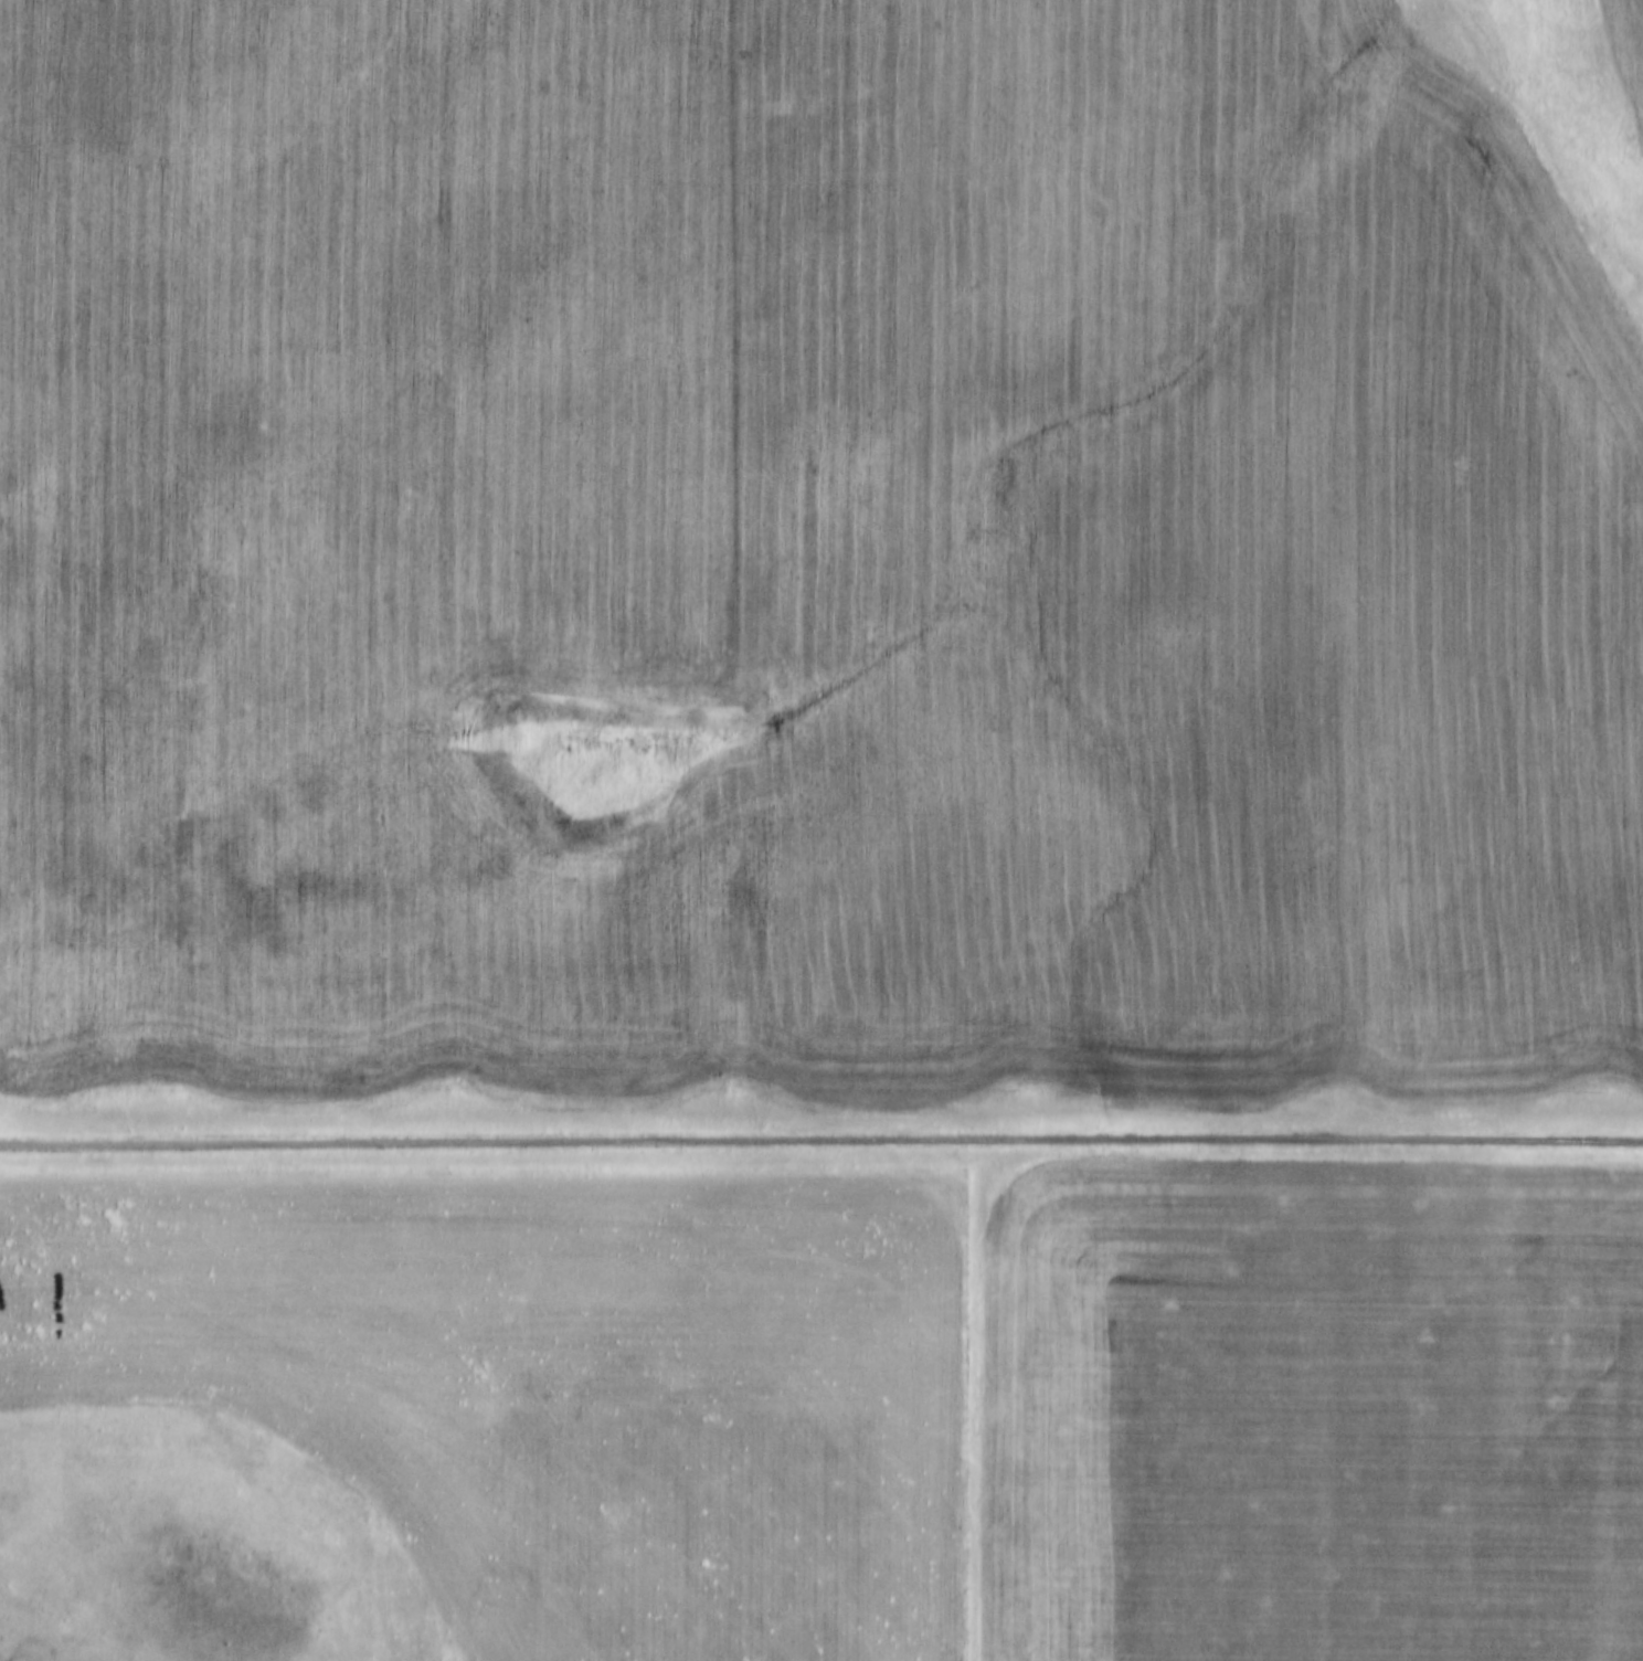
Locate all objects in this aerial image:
road: (820, 1144)

